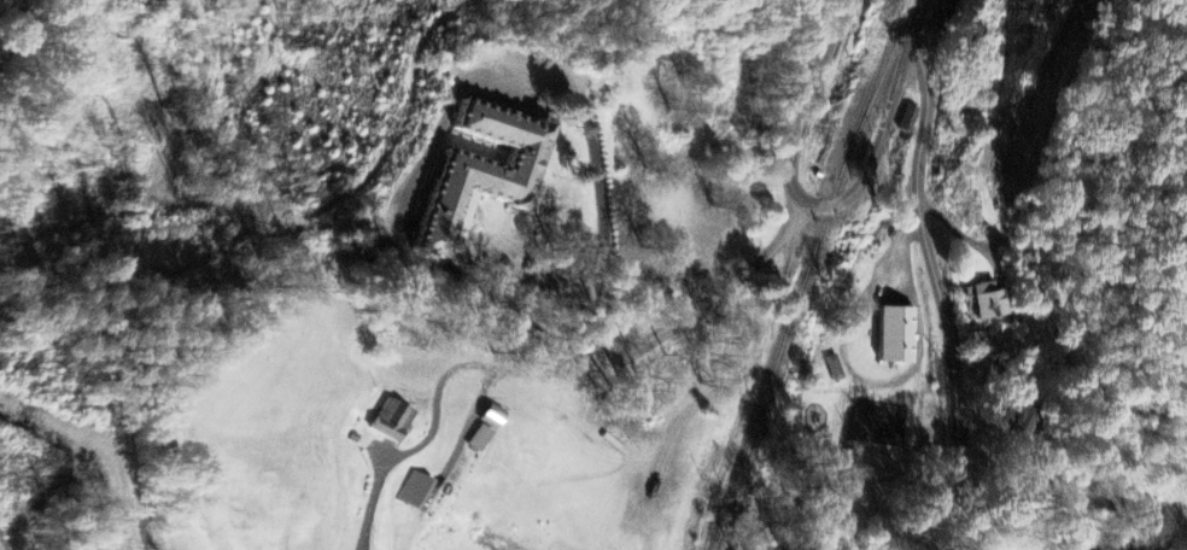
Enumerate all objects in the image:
building: (945, 14)
road: (919, 29)
road: (458, 86)
road: (814, 100)
building: (911, 119)
road: (879, 157)
building: (486, 171)
railway: (807, 275)
road: (943, 300)
building: (992, 303)
building: (896, 337)
building: (834, 369)
road: (555, 370)
road: (754, 376)
building: (493, 417)
building: (392, 421)
building: (483, 439)
building: (419, 492)

